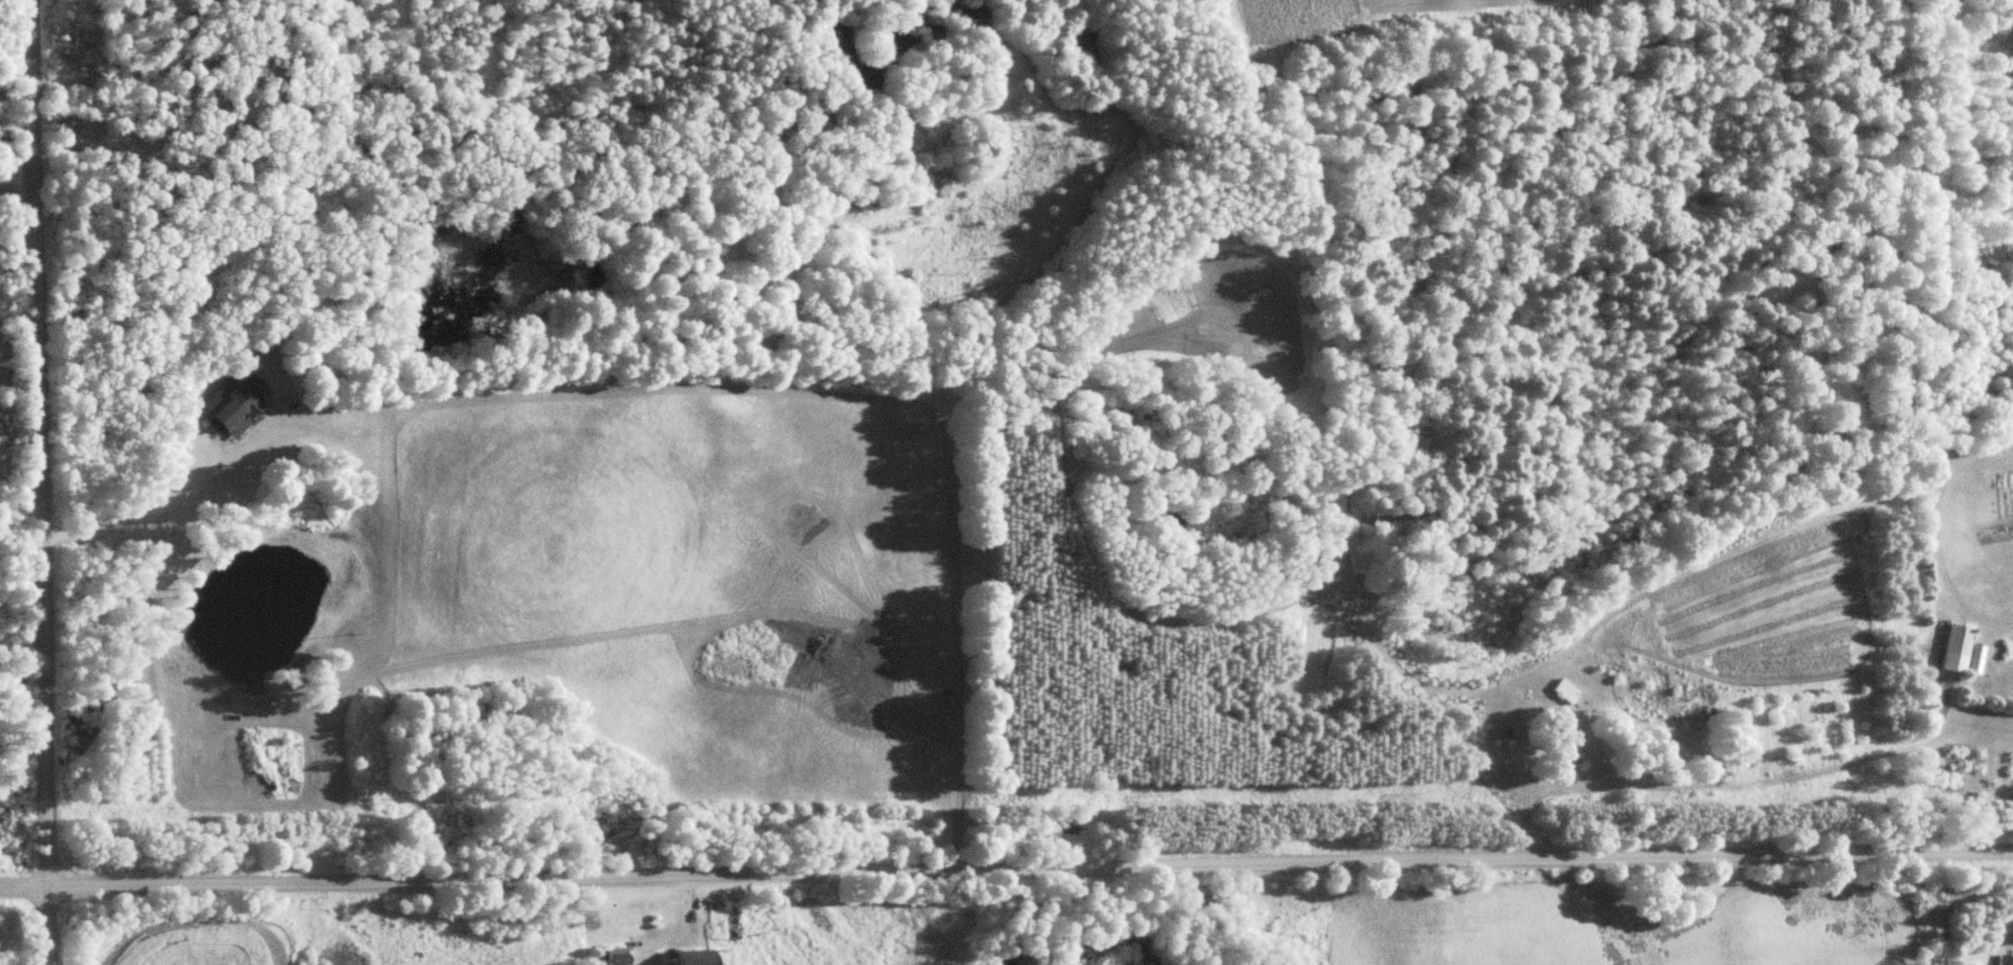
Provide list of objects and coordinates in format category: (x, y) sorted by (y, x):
building: (241, 402)
road: (45, 482)
building: (1951, 650)
road: (1443, 689)
building: (1570, 690)
road: (1006, 867)
building: (739, 921)
building: (2004, 935)
building: (621, 957)
building: (705, 957)
building: (2004, 960)

